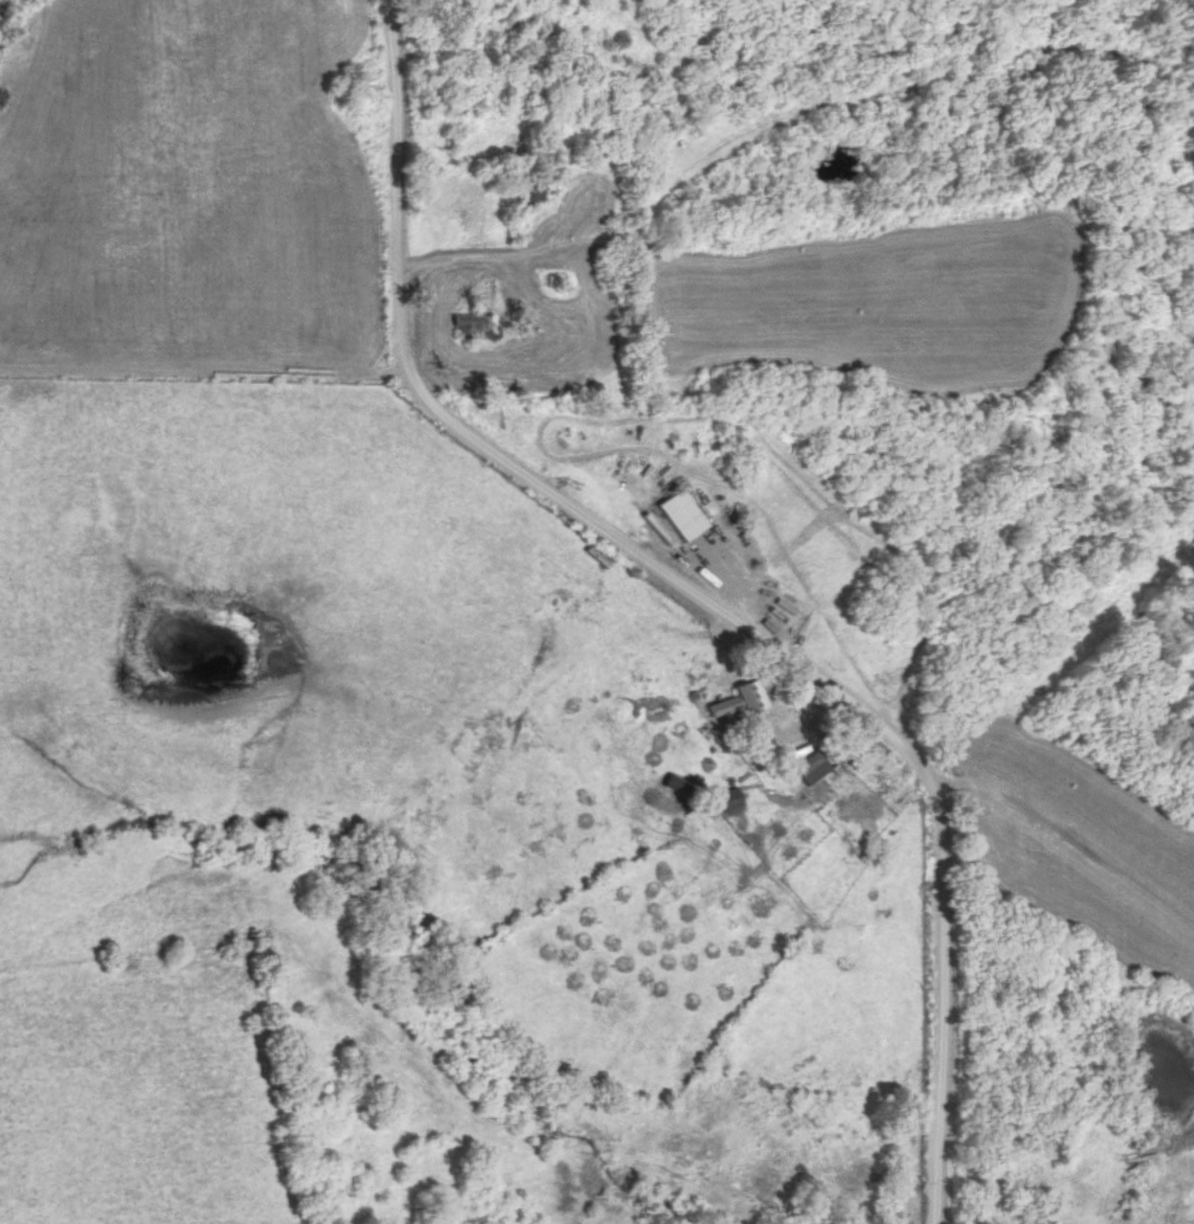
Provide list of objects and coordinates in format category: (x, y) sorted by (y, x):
building: (528, 193)
road: (456, 262)
building: (467, 327)
building: (678, 515)
road: (690, 598)
building: (729, 703)
building: (805, 767)
building: (844, 809)

